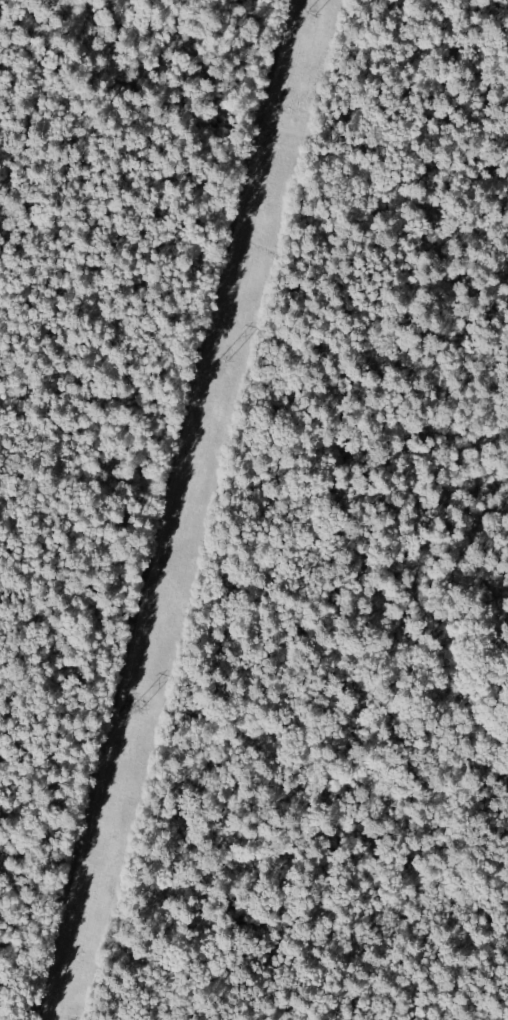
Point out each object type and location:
power tower: (312, 14)
road: (166, 41)
road: (389, 149)
power tower: (226, 360)
road: (175, 510)
power tower: (138, 707)

